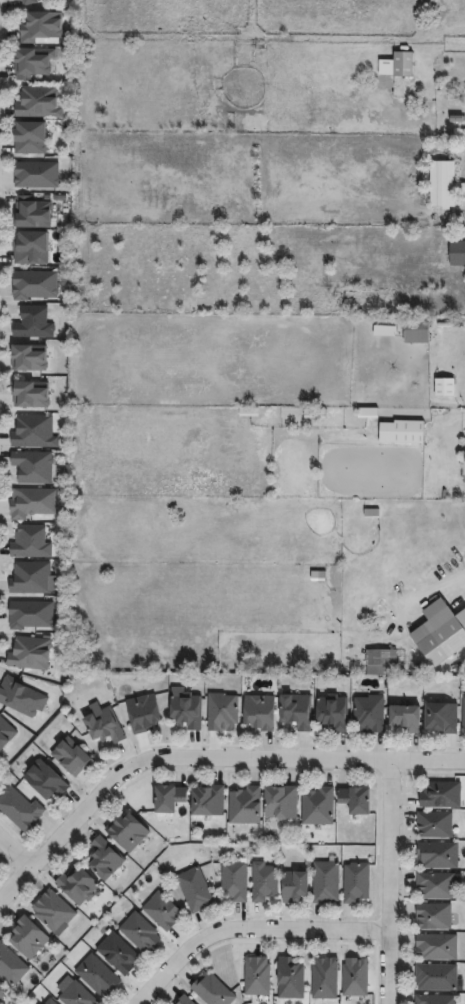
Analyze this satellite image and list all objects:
building: (19, 0)
building: (27, 2)
building: (40, 26)
building: (30, 62)
building: (405, 64)
building: (37, 103)
building: (27, 138)
building: (35, 175)
building: (443, 184)
building: (461, 187)
building: (29, 213)
building: (29, 248)
building: (458, 254)
building: (33, 285)
building: (31, 323)
building: (418, 333)
building: (27, 358)
building: (447, 388)
building: (29, 395)
building: (33, 432)
building: (404, 432)
building: (32, 468)
building: (31, 503)
building: (28, 543)
building: (30, 579)
road: (416, 606)
building: (29, 616)
building: (443, 635)
building: (29, 654)
building: (380, 663)
building: (20, 698)
building: (184, 712)
building: (294, 712)
building: (221, 713)
building: (258, 713)
building: (142, 714)
building: (331, 714)
building: (463, 714)
building: (368, 715)
building: (404, 719)
building: (440, 719)
building: (102, 727)
building: (5, 734)
building: (70, 758)
road: (205, 760)
building: (43, 782)
building: (440, 794)
building: (165, 797)
building: (354, 798)
building: (206, 800)
building: (279, 801)
building: (244, 805)
building: (317, 806)
building: (18, 811)
building: (434, 824)
building: (126, 831)
road: (15, 850)
building: (437, 855)
building: (103, 858)
building: (233, 880)
building: (263, 881)
building: (355, 881)
building: (325, 882)
road: (388, 883)
building: (76, 885)
building: (293, 885)
building: (435, 885)
building: (193, 889)
building: (52, 910)
building: (161, 910)
building: (433, 916)
road: (249, 930)
building: (138, 931)
building: (26, 938)
building: (437, 947)
building: (117, 953)
building: (10, 966)
building: (96, 975)
building: (256, 976)
building: (354, 977)
building: (436, 977)
building: (324, 978)
building: (289, 979)
building: (1, 990)
building: (211, 990)
building: (76, 995)
building: (434, 999)
building: (184, 1000)
building: (48, 1002)

